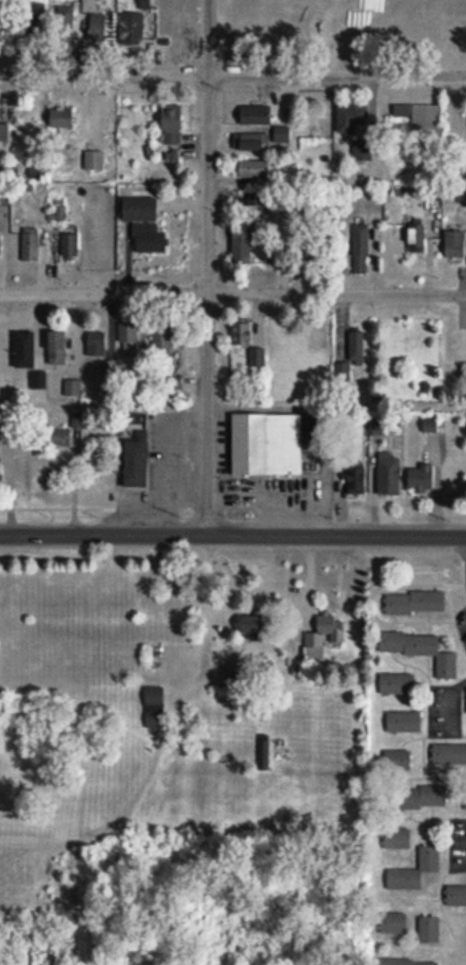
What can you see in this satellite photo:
building: (145, 3)
building: (39, 15)
building: (64, 21)
building: (99, 28)
building: (131, 29)
road: (232, 73)
building: (256, 115)
building: (351, 117)
building: (61, 119)
building: (422, 121)
building: (172, 124)
building: (4, 132)
building: (282, 135)
building: (255, 143)
building: (94, 161)
building: (253, 169)
building: (257, 200)
building: (140, 210)
building: (149, 239)
building: (416, 239)
building: (243, 243)
building: (455, 244)
building: (30, 245)
building: (0, 246)
building: (70, 247)
building: (360, 249)
building: (318, 254)
road: (207, 265)
road: (233, 292)
building: (242, 332)
building: (129, 339)
building: (166, 340)
building: (97, 345)
building: (356, 347)
building: (58, 348)
building: (27, 351)
building: (257, 361)
building: (38, 381)
building: (172, 385)
building: (61, 438)
building: (265, 443)
building: (427, 458)
building: (134, 462)
building: (389, 475)
building: (357, 480)
road: (232, 532)
road: (454, 578)
building: (415, 602)
road: (205, 605)
building: (251, 628)
building: (315, 639)
building: (420, 650)
road: (434, 682)
building: (397, 684)
building: (154, 707)
building: (404, 721)
building: (449, 755)
building: (397, 761)
building: (417, 797)
building: (465, 797)
road: (451, 834)
building: (397, 838)
building: (415, 870)
building: (456, 894)
building: (393, 923)
building: (429, 929)
building: (408, 962)

